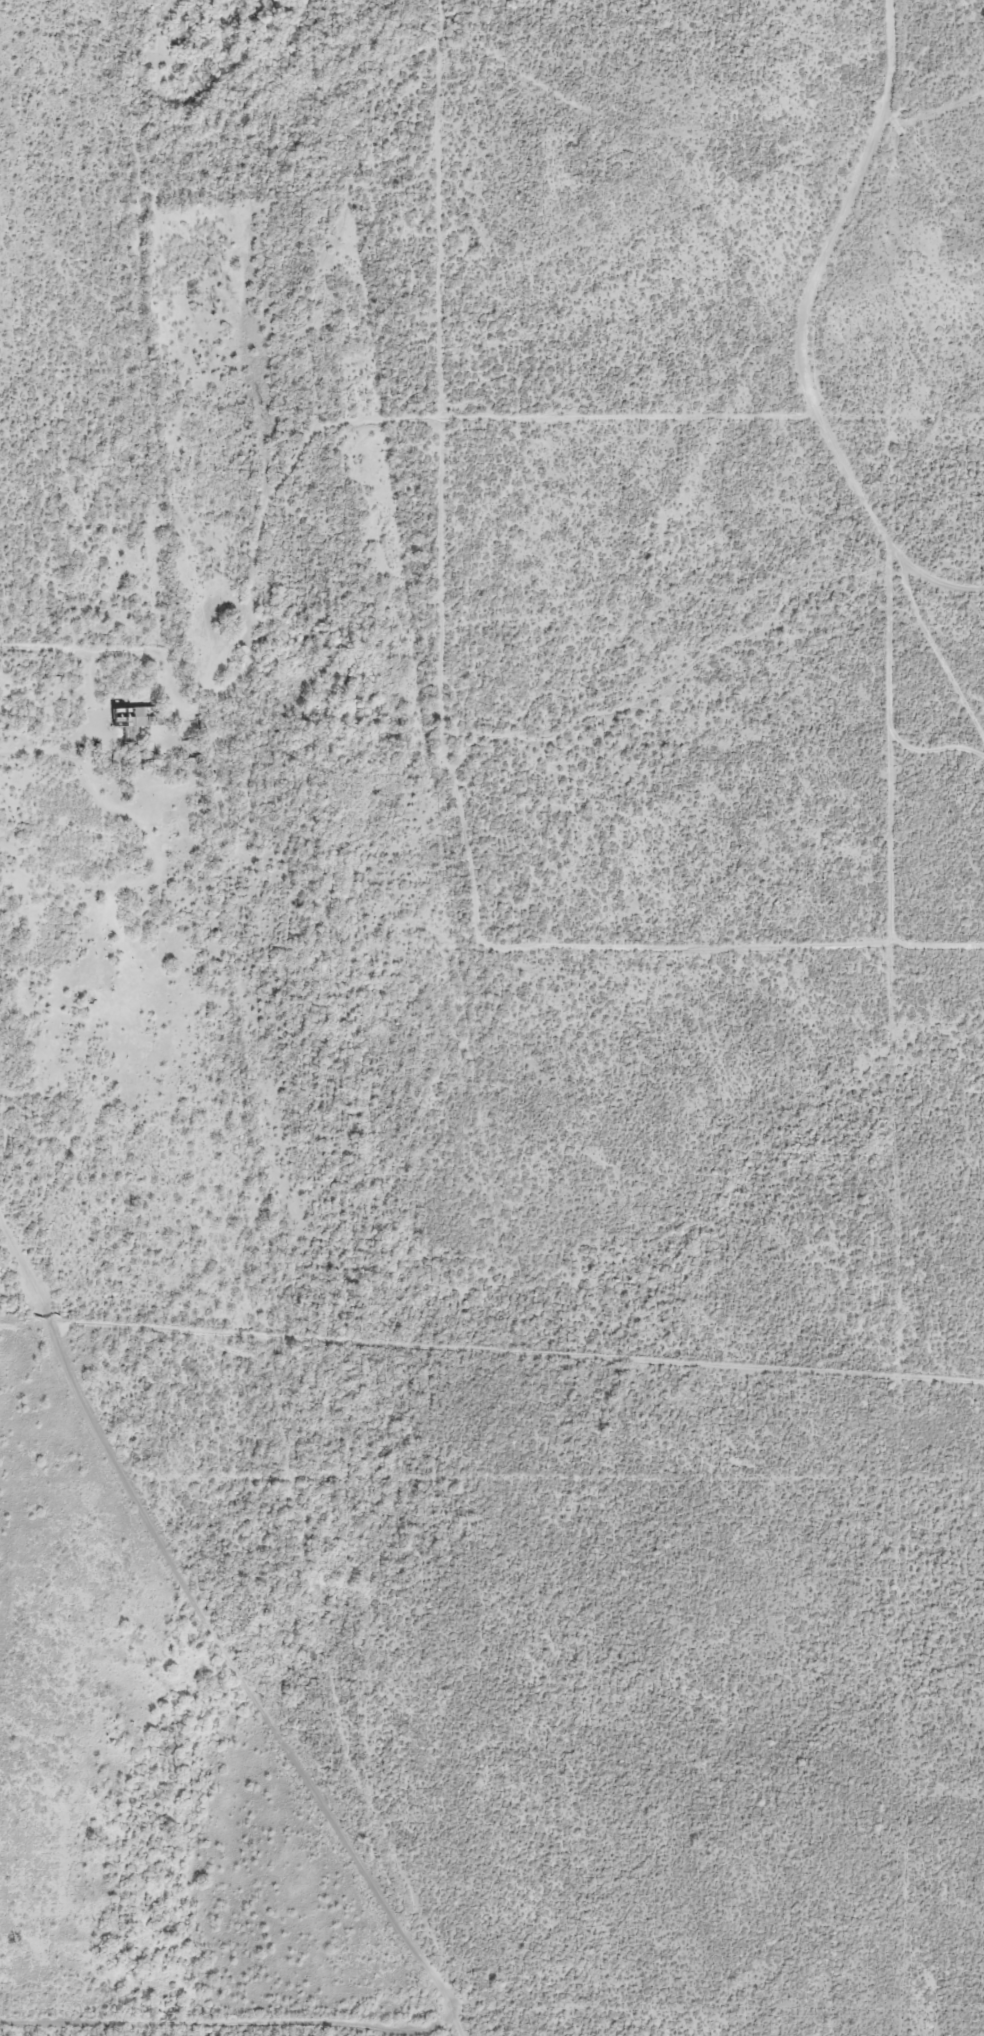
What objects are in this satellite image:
road: (215, 1641)

